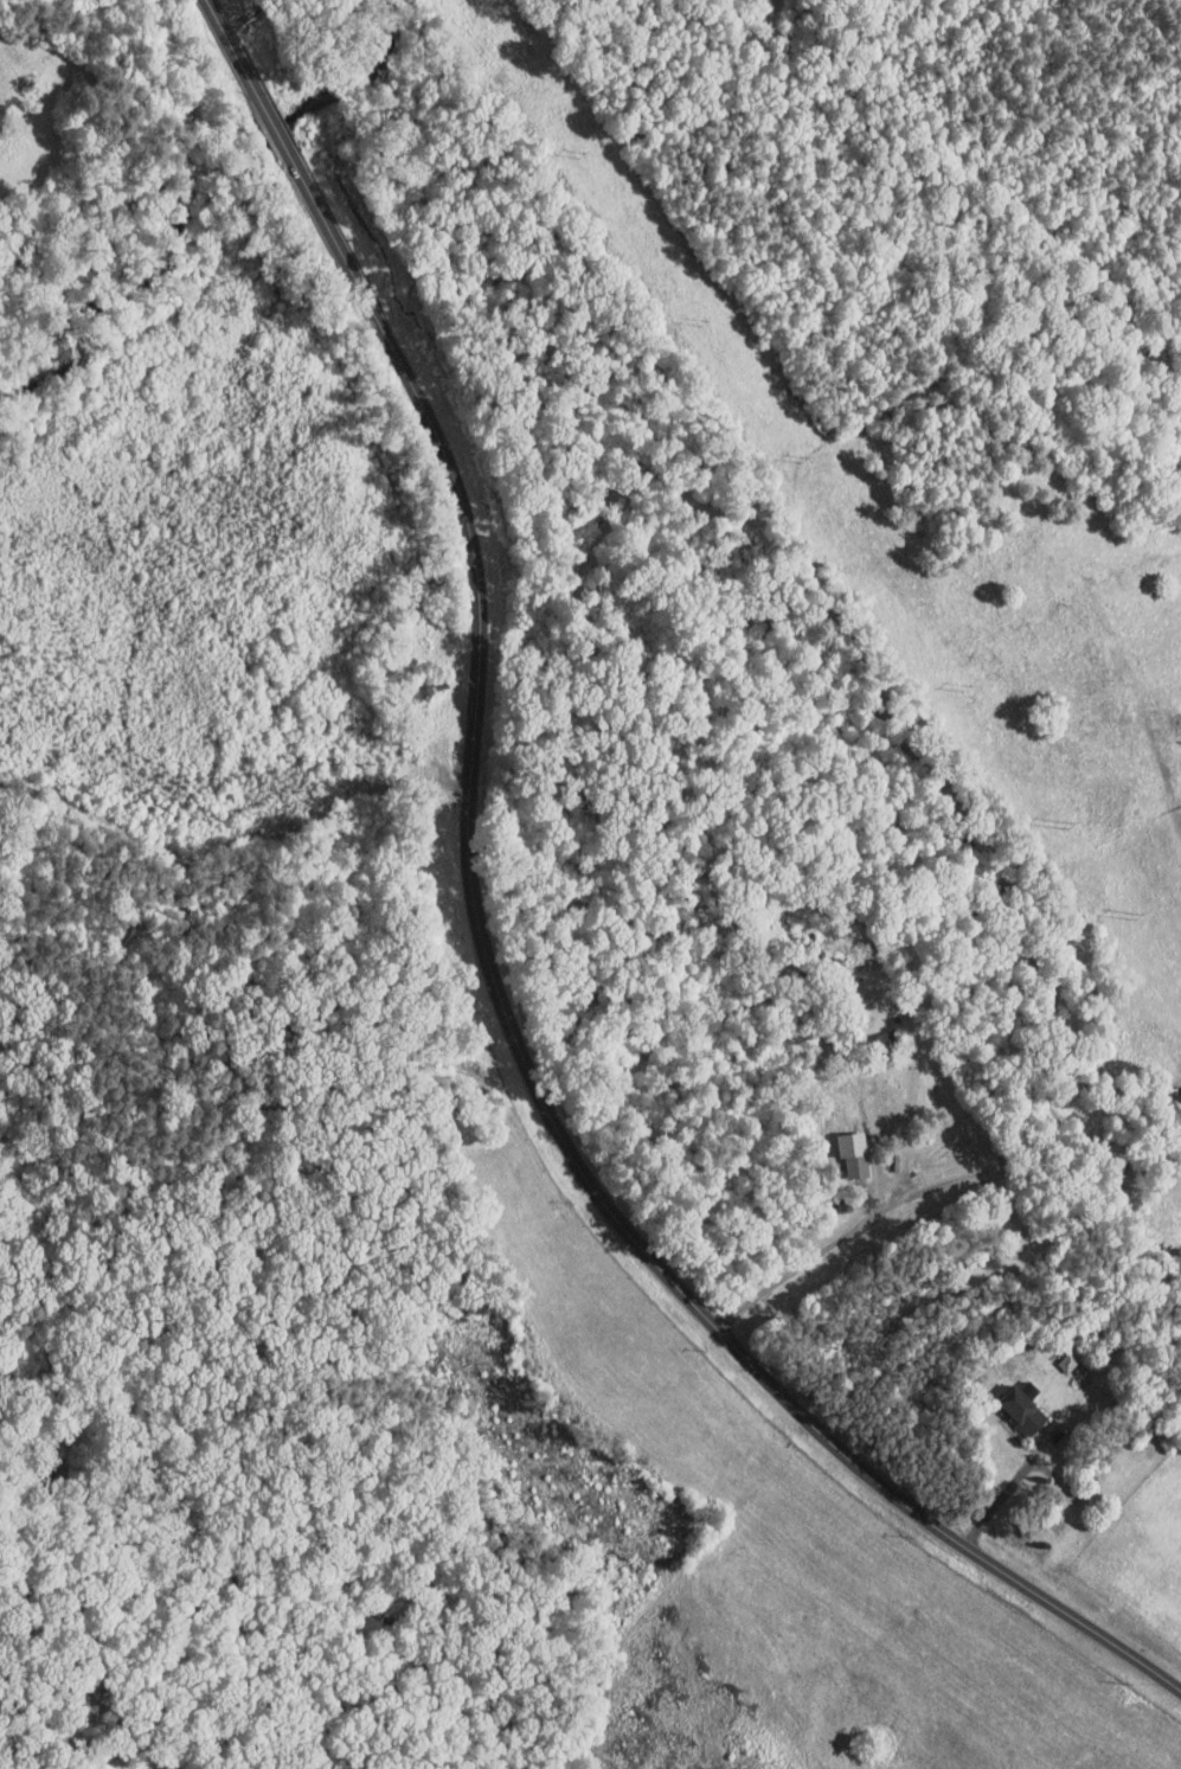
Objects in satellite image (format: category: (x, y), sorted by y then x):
road: (244, 15)
road: (489, 963)
building: (842, 1147)
road: (928, 1187)
building: (1010, 1403)
road: (1003, 1493)
road: (15, 1758)

